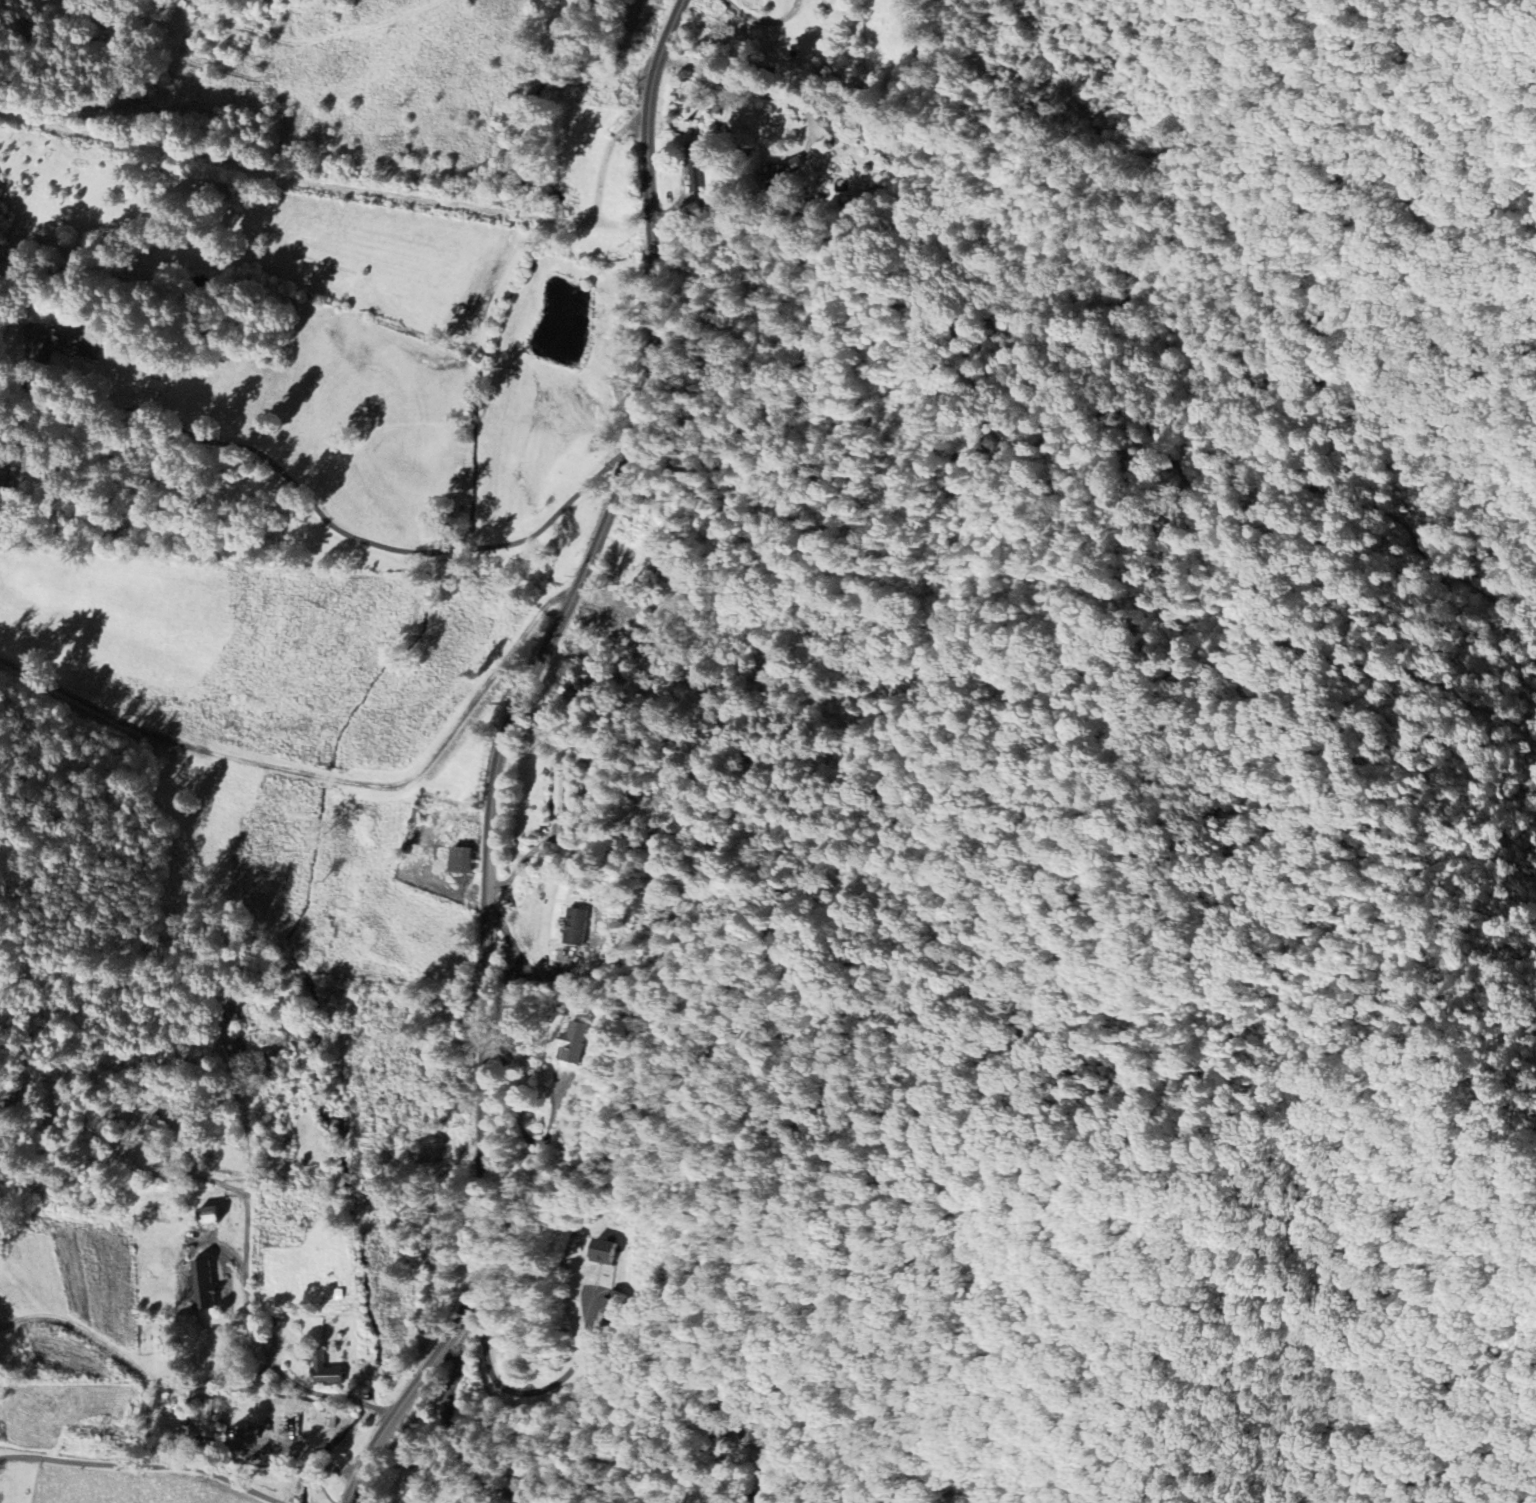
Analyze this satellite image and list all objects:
road: (747, 83)
building: (778, 172)
building: (62, 339)
road: (321, 514)
road: (502, 752)
building: (467, 860)
building: (576, 926)
building: (230, 1012)
building: (570, 1042)
building: (216, 1215)
building: (603, 1252)
building: (207, 1284)
road: (245, 1289)
park: (153, 1337)
building: (327, 1372)
road: (148, 1415)
building: (208, 1418)
building: (328, 1419)
road: (458, 1434)
road: (287, 1452)
road: (82, 1462)

